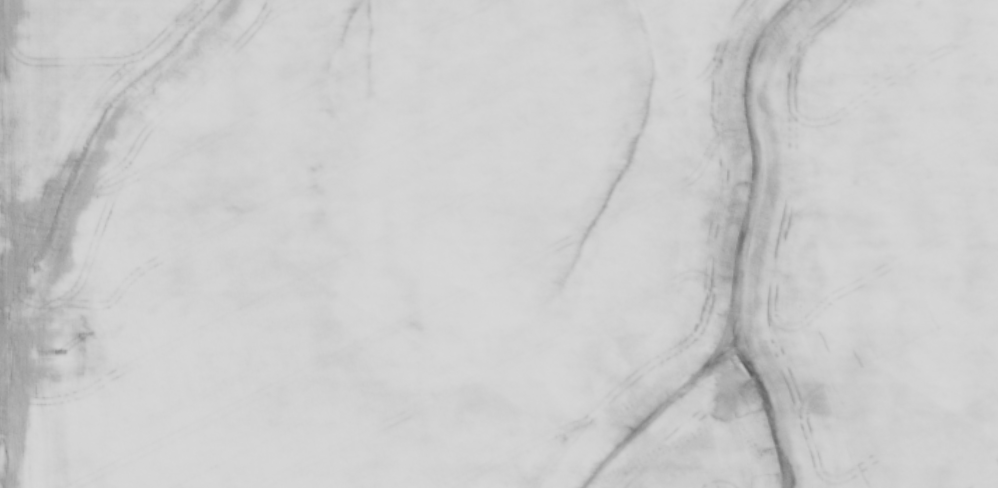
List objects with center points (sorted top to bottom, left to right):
power tower: (60, 353)

